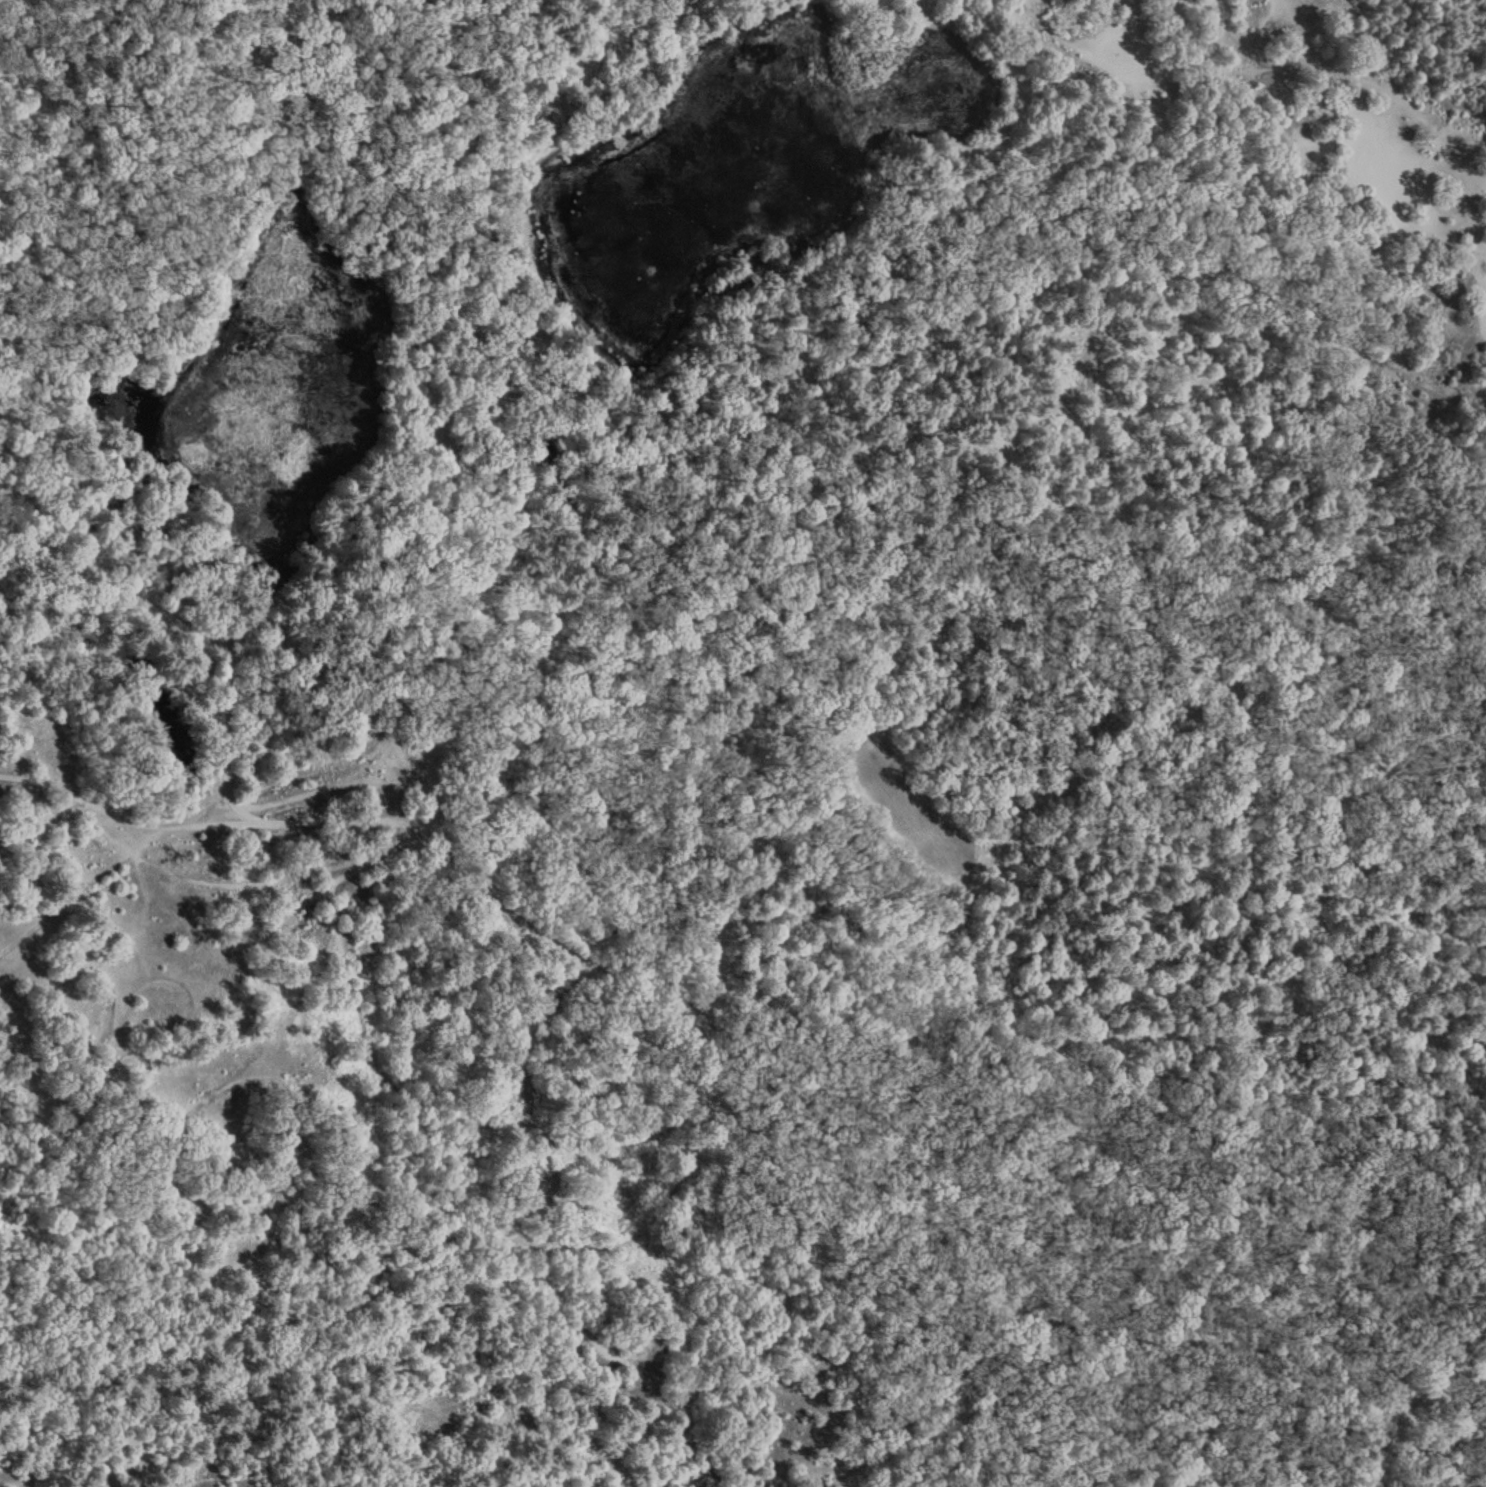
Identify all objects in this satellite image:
road: (744, 1277)

